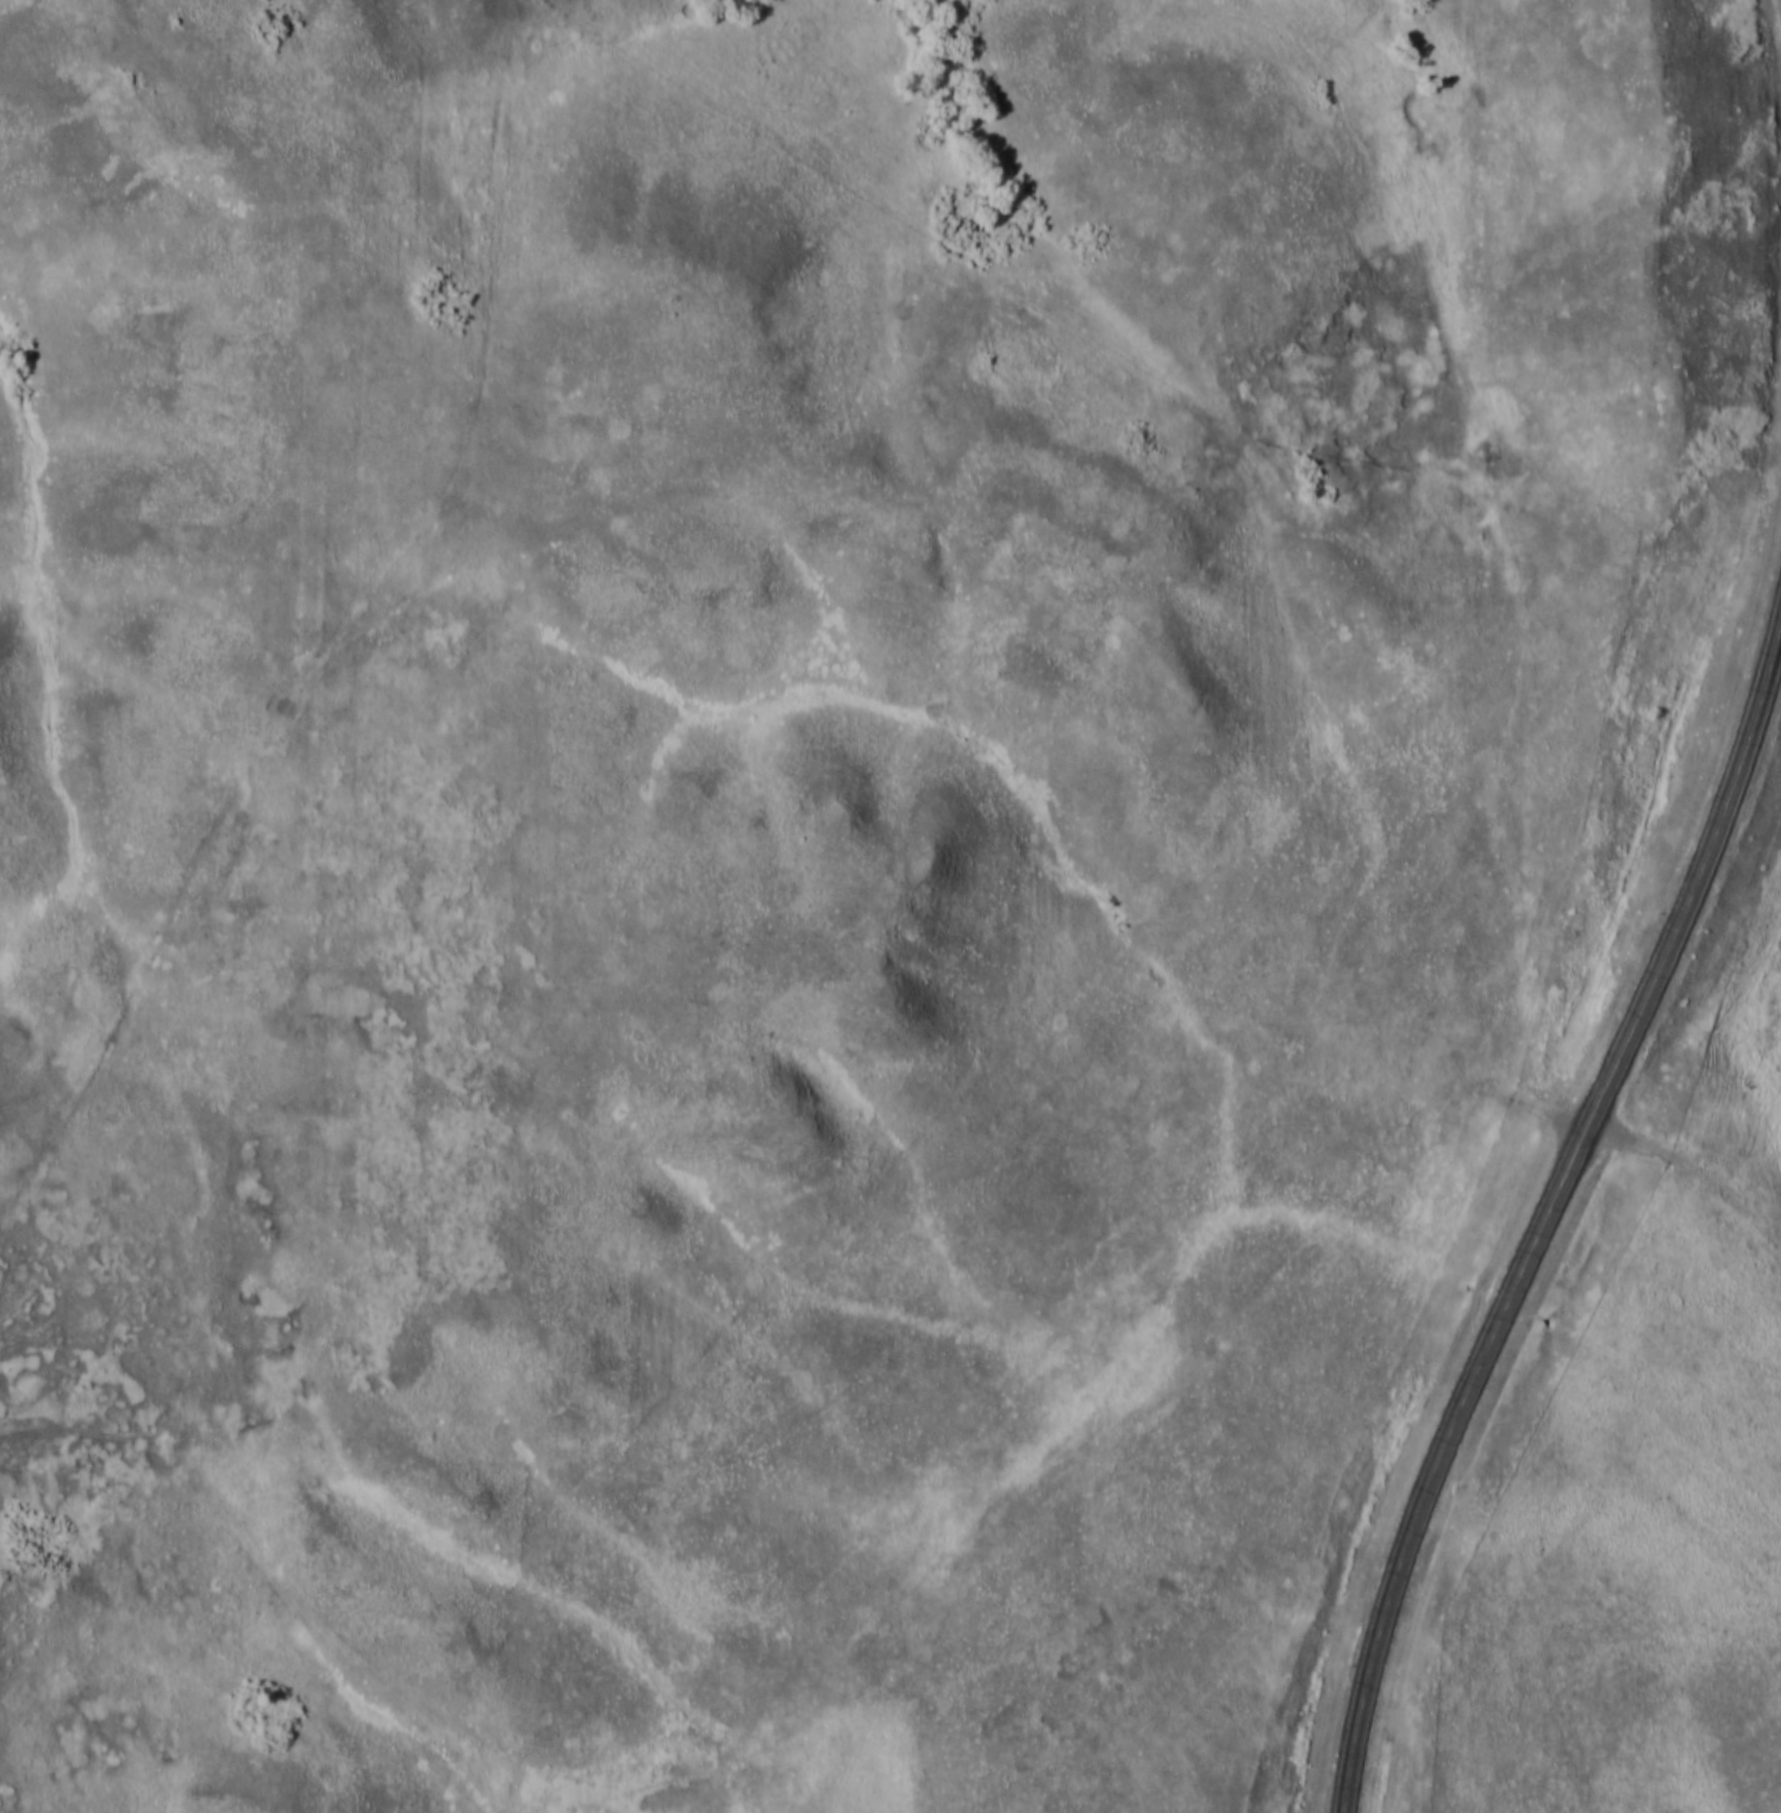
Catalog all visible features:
road: (1548, 1218)

